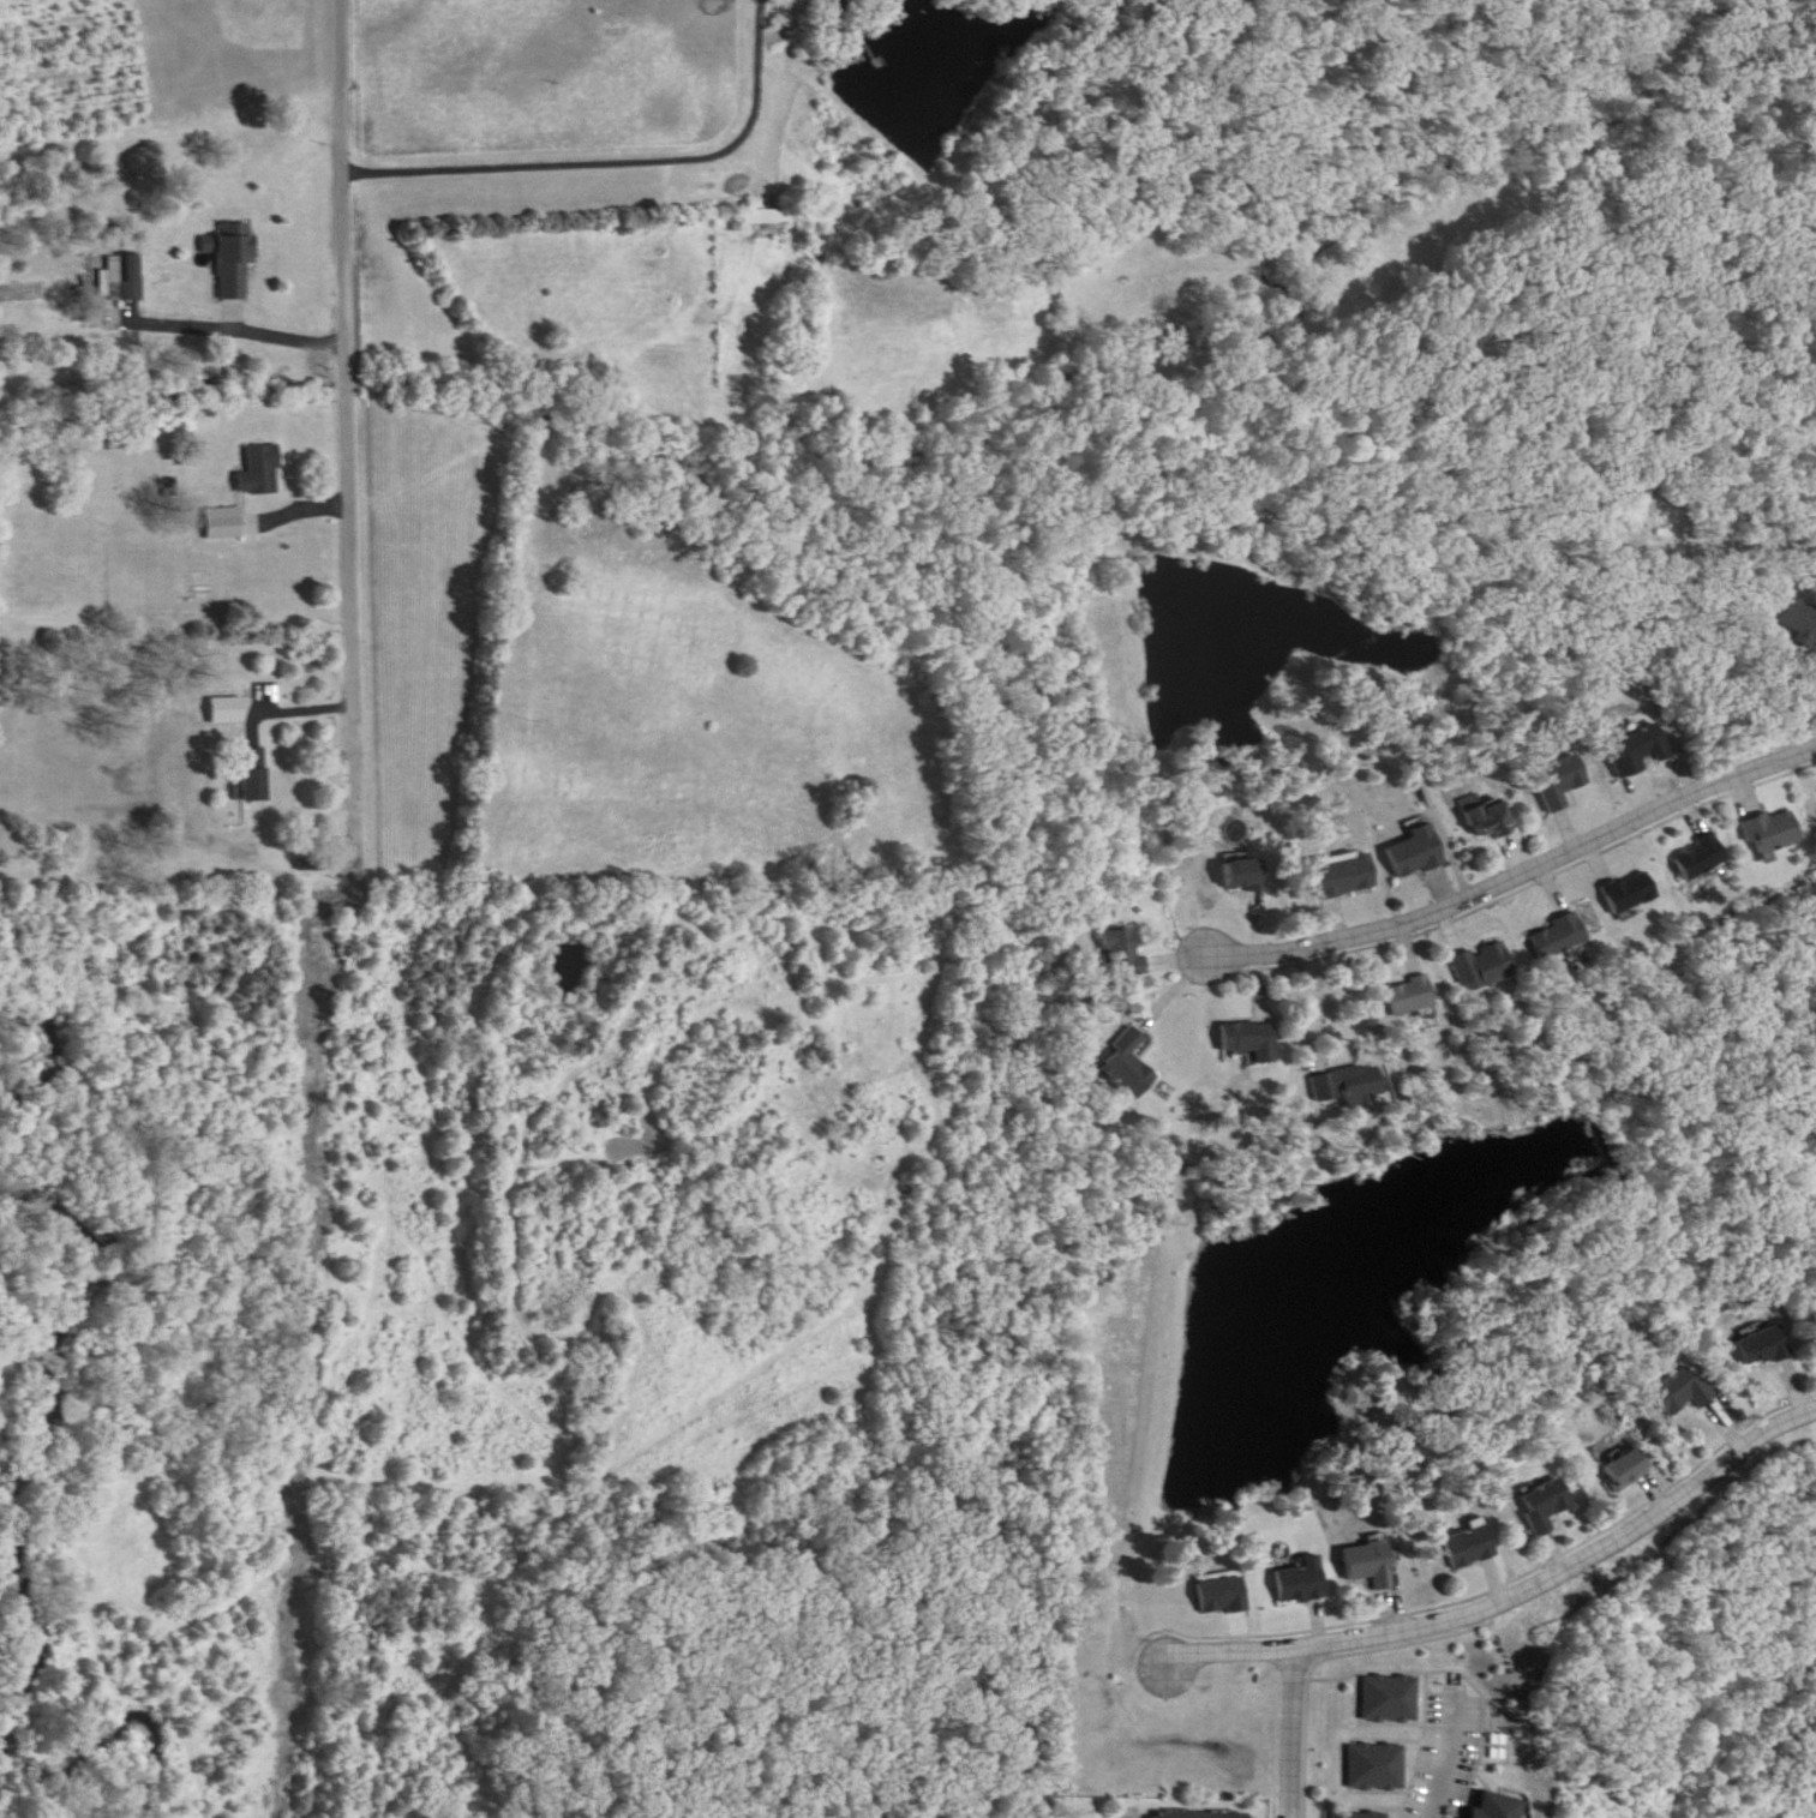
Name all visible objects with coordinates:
building: (834, 1)
road: (621, 163)
building: (768, 216)
building: (234, 260)
road: (232, 328)
road: (348, 408)
building: (264, 470)
building: (1640, 752)
building: (254, 776)
building: (1563, 784)
building: (1494, 818)
building: (1775, 833)
building: (1418, 854)
building: (1703, 860)
road: (1515, 871)
building: (1345, 876)
building: (1634, 894)
building: (1563, 938)
building: (1125, 953)
building: (1487, 966)
building: (1415, 997)
road: (1289, 1006)
building: (1252, 1042)
building: (1128, 1066)
building: (1353, 1086)
building: (1764, 1349)
building: (1683, 1393)
building: (1628, 1471)
building: (1547, 1507)
building: (1472, 1548)
building: (1372, 1566)
building: (1303, 1583)
building: (1223, 1597)
road: (1515, 1602)
building: (1391, 1681)
road: (1282, 1732)
building: (1377, 1750)
road: (1445, 1756)
building: (1491, 1799)
building: (1357, 1806)
building: (1209, 1810)

